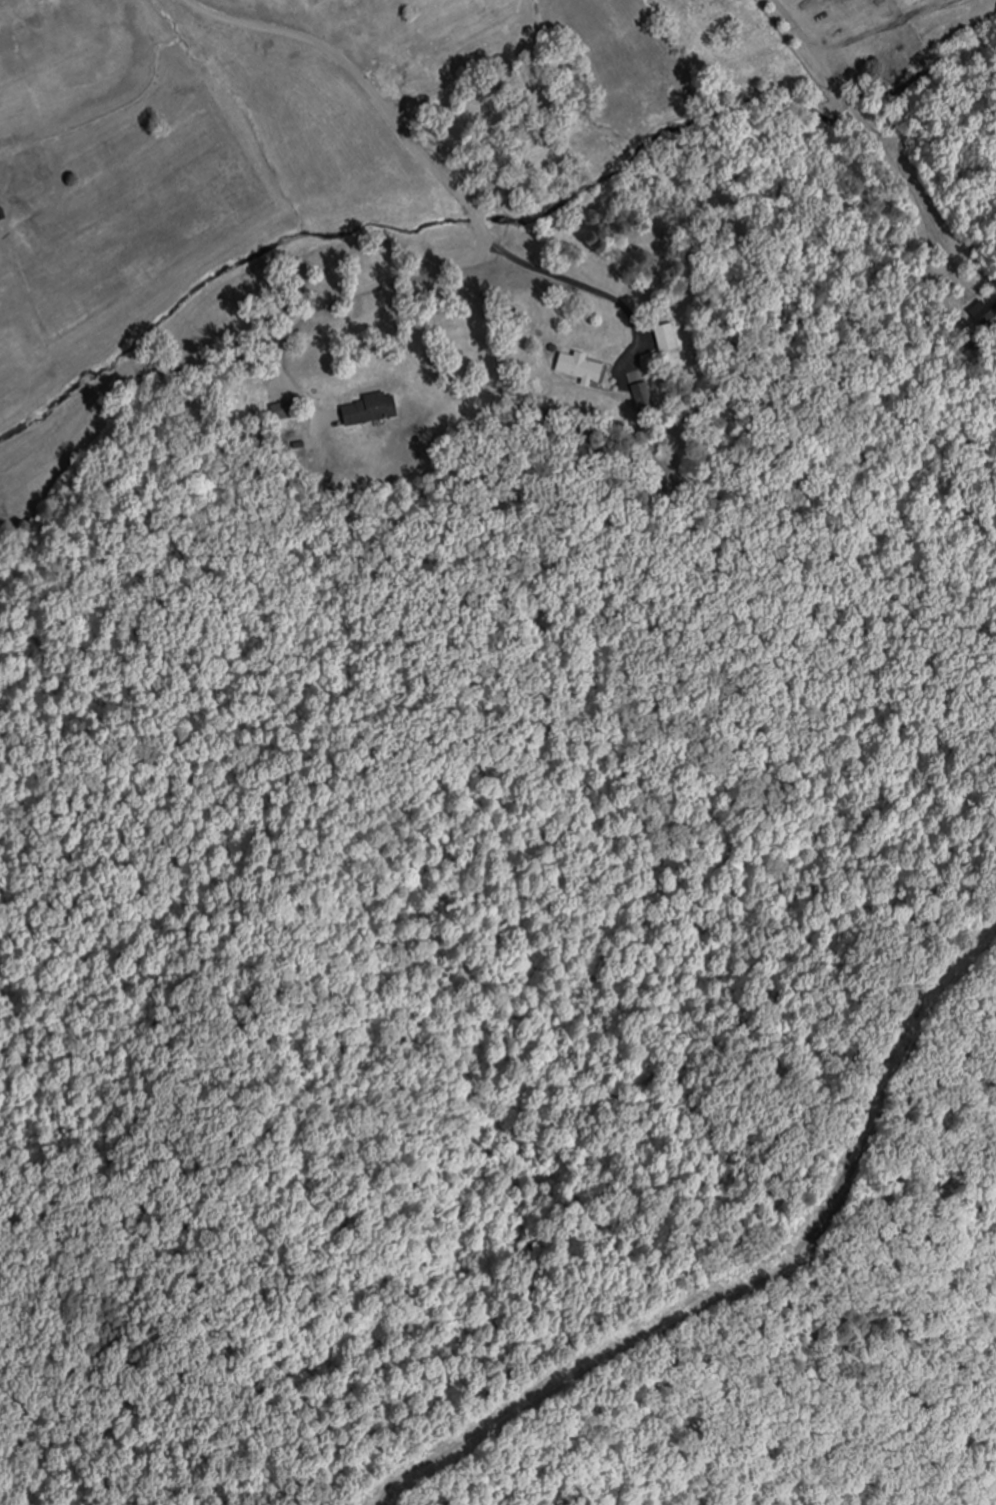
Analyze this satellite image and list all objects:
building: (6, 3)
road: (874, 129)
road: (477, 204)
road: (580, 278)
building: (980, 312)
building: (666, 334)
building: (580, 365)
building: (638, 394)
building: (374, 407)
building: (284, 409)

